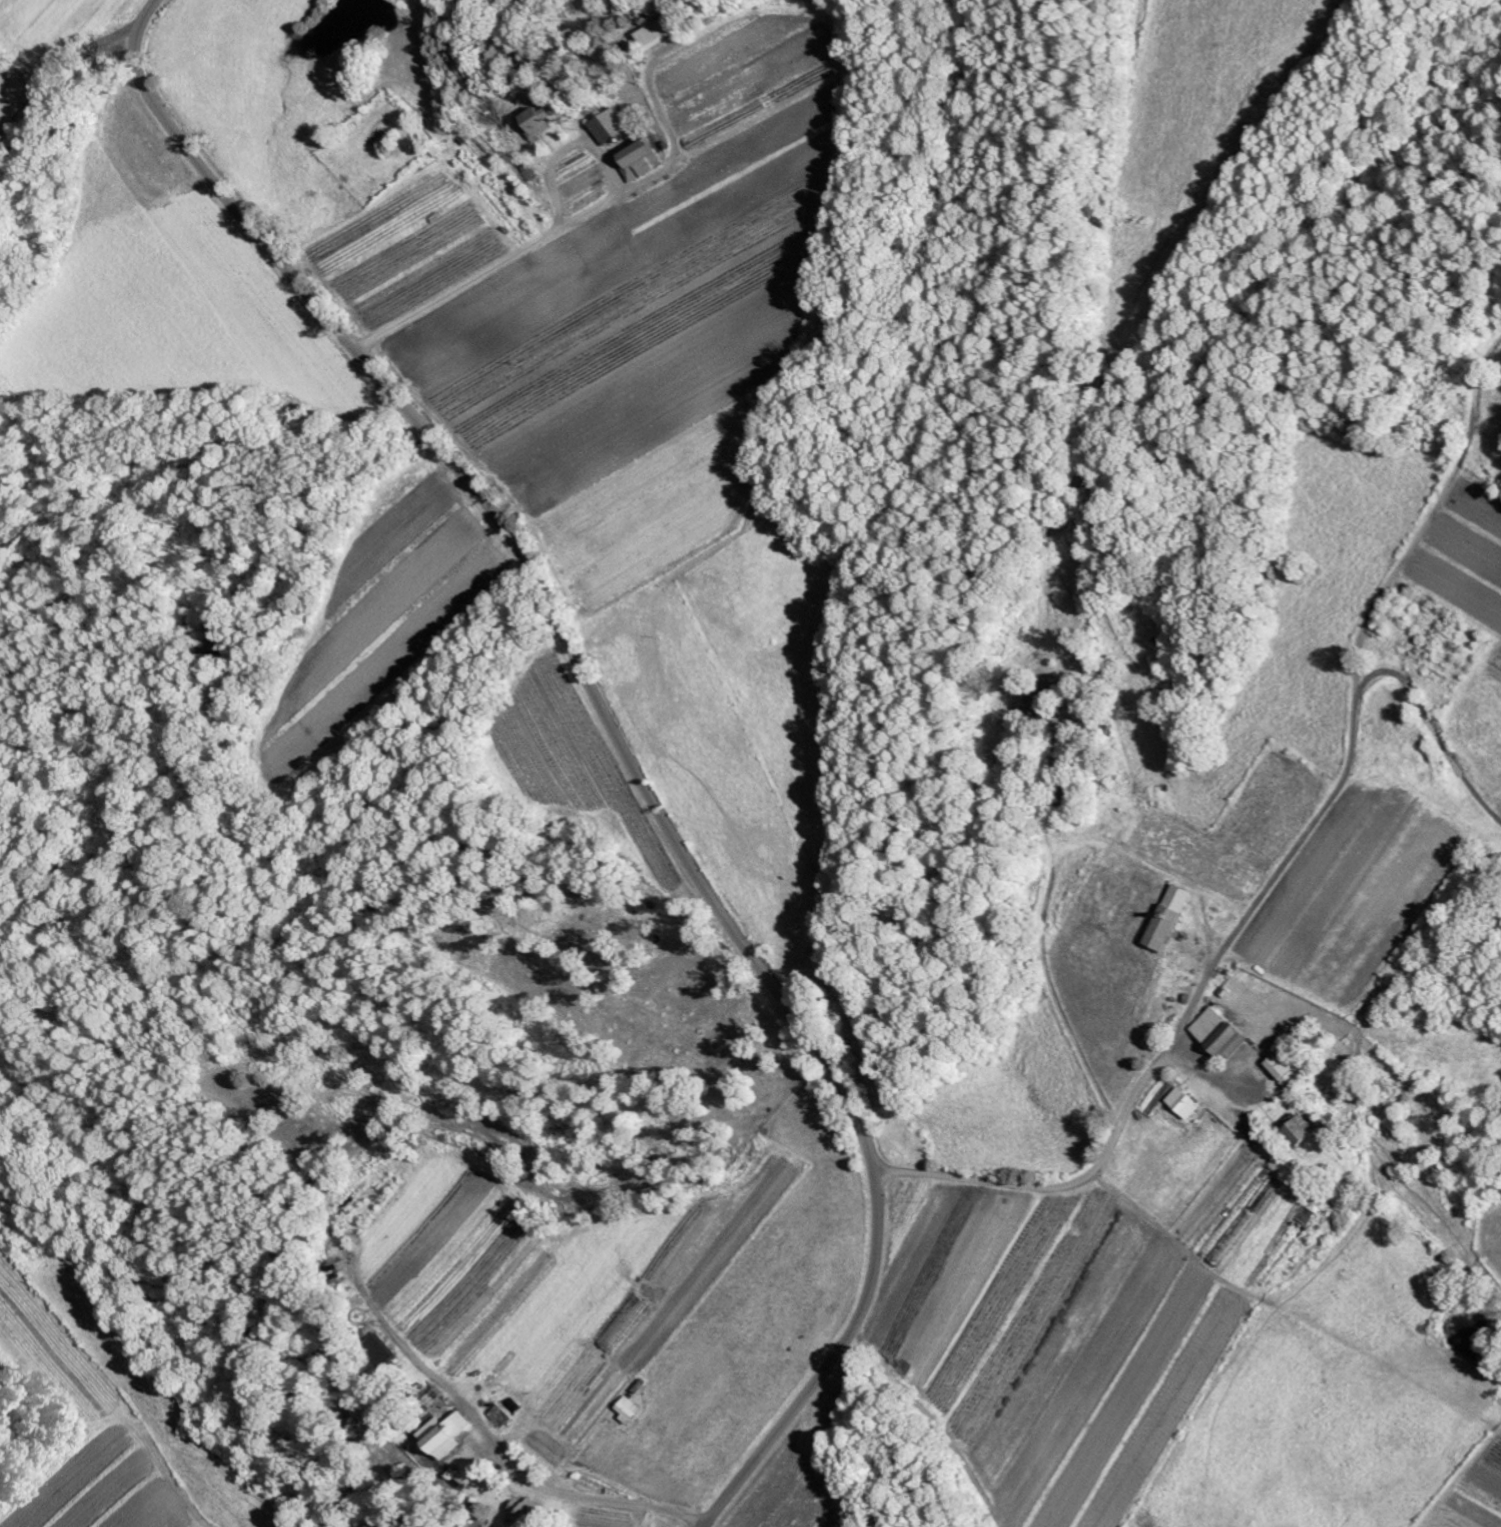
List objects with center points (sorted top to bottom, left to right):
road: (133, 8)
building: (663, 31)
road: (63, 112)
building: (545, 120)
building: (641, 160)
building: (1037, 704)
road: (621, 744)
building: (1172, 917)
road: (1237, 933)
road: (1054, 1001)
building: (1221, 1032)
building: (1149, 1045)
building: (1285, 1074)
building: (1301, 1130)
building: (379, 1351)
building: (445, 1434)
road: (576, 1501)

